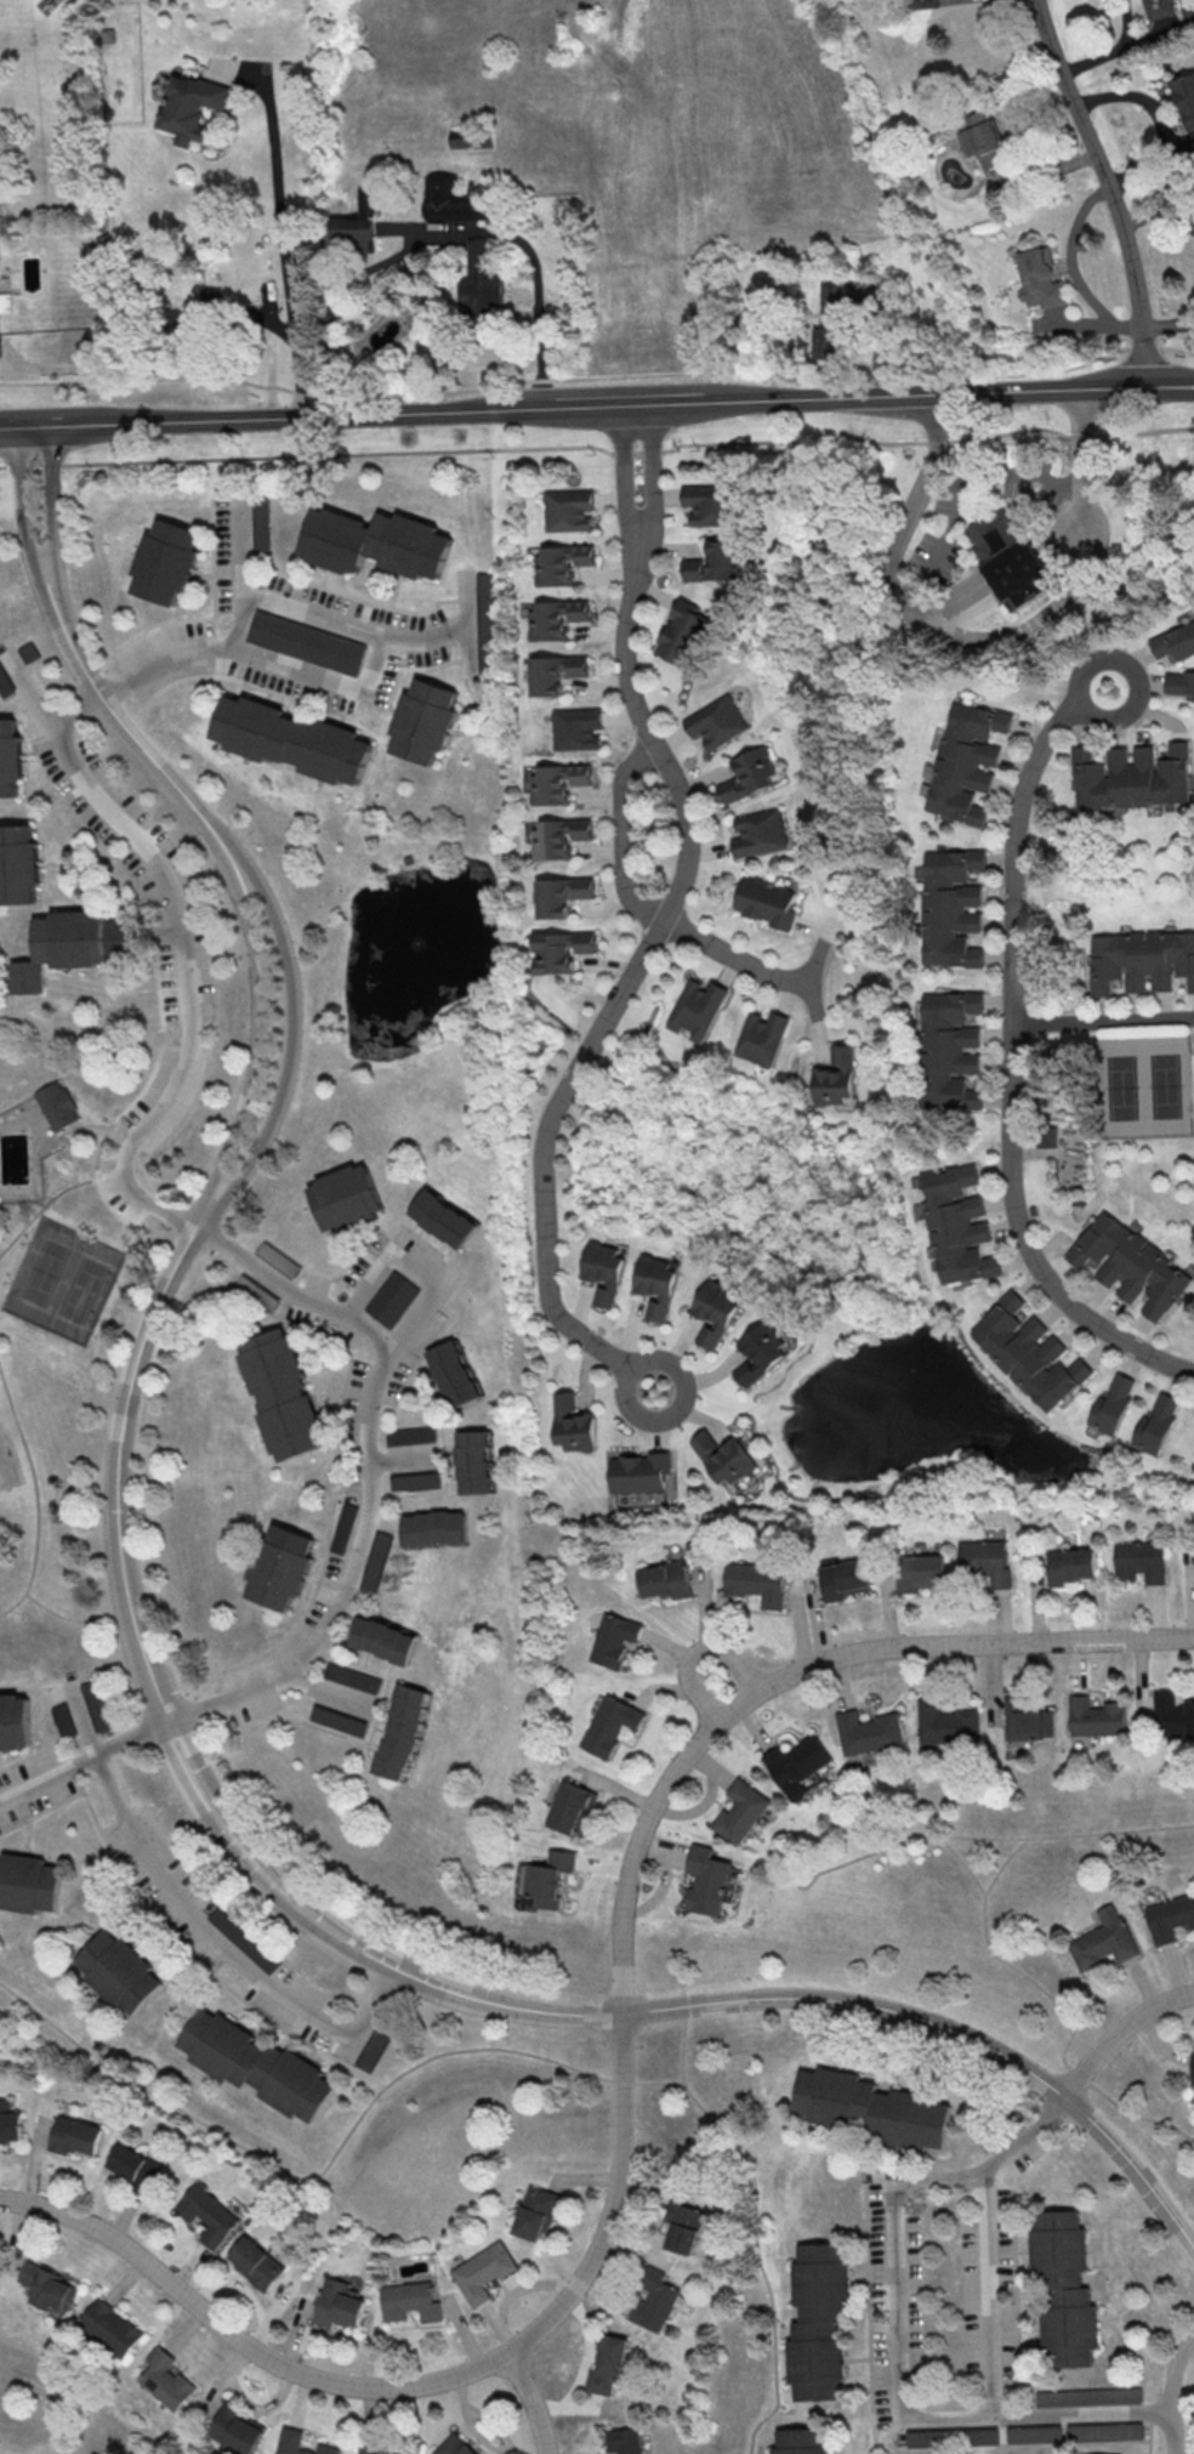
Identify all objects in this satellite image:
building: (926, 2)
building: (1156, 8)
road: (1110, 50)
building: (1186, 98)
building: (192, 106)
building: (470, 137)
building: (982, 138)
road: (1110, 189)
building: (453, 201)
road: (282, 222)
building: (356, 227)
road: (1074, 271)
building: (484, 279)
building: (1037, 280)
building: (831, 296)
building: (5, 301)
road: (536, 319)
building: (829, 341)
road: (1142, 347)
road: (1175, 348)
road: (564, 377)
road: (596, 404)
road: (598, 448)
road: (652, 471)
road: (622, 472)
road: (50, 498)
road: (22, 499)
building: (707, 504)
building: (568, 509)
building: (261, 527)
building: (374, 541)
road: (243, 547)
building: (1014, 558)
building: (715, 562)
building: (167, 563)
building: (561, 563)
building: (555, 618)
building: (683, 634)
road: (985, 637)
building: (305, 641)
building: (1176, 642)
building: (29, 652)
building: (555, 671)
road: (1133, 674)
road: (328, 680)
building: (1179, 681)
building: (5, 683)
road: (108, 705)
building: (716, 721)
building: (426, 722)
building: (576, 728)
building: (290, 739)
building: (12, 759)
building: (966, 761)
building: (749, 774)
building: (1132, 777)
building: (557, 783)
building: (760, 831)
road: (688, 833)
building: (559, 836)
building: (19, 865)
building: (562, 894)
building: (767, 902)
building: (950, 907)
building: (75, 945)
building: (564, 949)
road: (186, 958)
road: (740, 958)
building: (1142, 959)
road: (638, 960)
road: (255, 1007)
building: (699, 1007)
road: (297, 1009)
road: (1103, 1021)
building: (762, 1036)
building: (951, 1050)
road: (1012, 1070)
building: (837, 1077)
road: (143, 1081)
park: (1143, 1086)
building: (59, 1104)
road: (89, 1113)
road: (80, 1125)
building: (1048, 1135)
parking lot: (120, 1194)
road: (52, 1197)
building: (348, 1199)
building: (443, 1217)
building: (959, 1225)
road: (124, 1235)
building: (278, 1259)
road: (419, 1263)
building: (1131, 1263)
building: (604, 1271)
park: (66, 1279)
building: (656, 1285)
building: (258, 1291)
building: (392, 1299)
building: (716, 1312)
park: (66, 1319)
building: (761, 1352)
building: (1029, 1352)
road: (630, 1368)
building: (453, 1373)
building: (282, 1393)
building: (1114, 1402)
building: (573, 1424)
building: (1158, 1424)
building: (410, 1433)
building: (724, 1456)
building: (474, 1460)
building: (639, 1471)
building: (415, 1481)
road: (35, 1495)
road: (364, 1504)
building: (345, 1527)
building: (434, 1528)
building: (376, 1561)
building: (988, 1561)
building: (1142, 1561)
building: (1073, 1566)
building: (284, 1569)
building: (920, 1570)
building: (664, 1579)
building: (846, 1579)
building: (756, 1581)
road: (74, 1619)
building: (614, 1637)
building: (383, 1638)
road: (700, 1651)
building: (353, 1676)
building: (95, 1705)
building: (1172, 1715)
building: (1096, 1716)
building: (1027, 1719)
building: (13, 1720)
building: (63, 1720)
building: (339, 1720)
building: (610, 1723)
building: (945, 1723)
building: (403, 1732)
building: (868, 1732)
building: (796, 1766)
building: (570, 1807)
building: (741, 1811)
building: (0, 1833)
road: (1002, 1837)
road: (1003, 1861)
building: (546, 1879)
building: (707, 1880)
road: (795, 1882)
building: (29, 1886)
road: (188, 1913)
building: (218, 1916)
building: (1170, 1918)
building: (1104, 1939)
road: (397, 1969)
building: (121, 1973)
road: (1058, 2003)
road: (1119, 2029)
road: (681, 2037)
building: (373, 2047)
road: (488, 2050)
building: (1193, 2064)
building: (260, 2066)
road: (620, 2078)
building: (876, 2109)
building: (10, 2124)
building: (76, 2136)
park: (504, 2145)
building: (135, 2166)
building: (538, 2212)
building: (210, 2215)
building: (684, 2227)
building: (256, 2262)
building: (484, 2272)
building: (50, 2287)
building: (1062, 2288)
road: (987, 2299)
building: (411, 2301)
building: (656, 2301)
building: (340, 2305)
building: (814, 2320)
building: (112, 2327)
road: (891, 2336)
building: (609, 2363)
road: (586, 2368)
building: (166, 2378)
road: (1171, 2391)
park: (63, 2399)
road: (530, 2401)
building: (235, 2429)
building: (1031, 2432)
building: (951, 2436)
building: (621, 2439)
building: (804, 2442)
building: (297, 2443)
building: (455, 2446)
building: (366, 2448)
building: (403, 2452)

